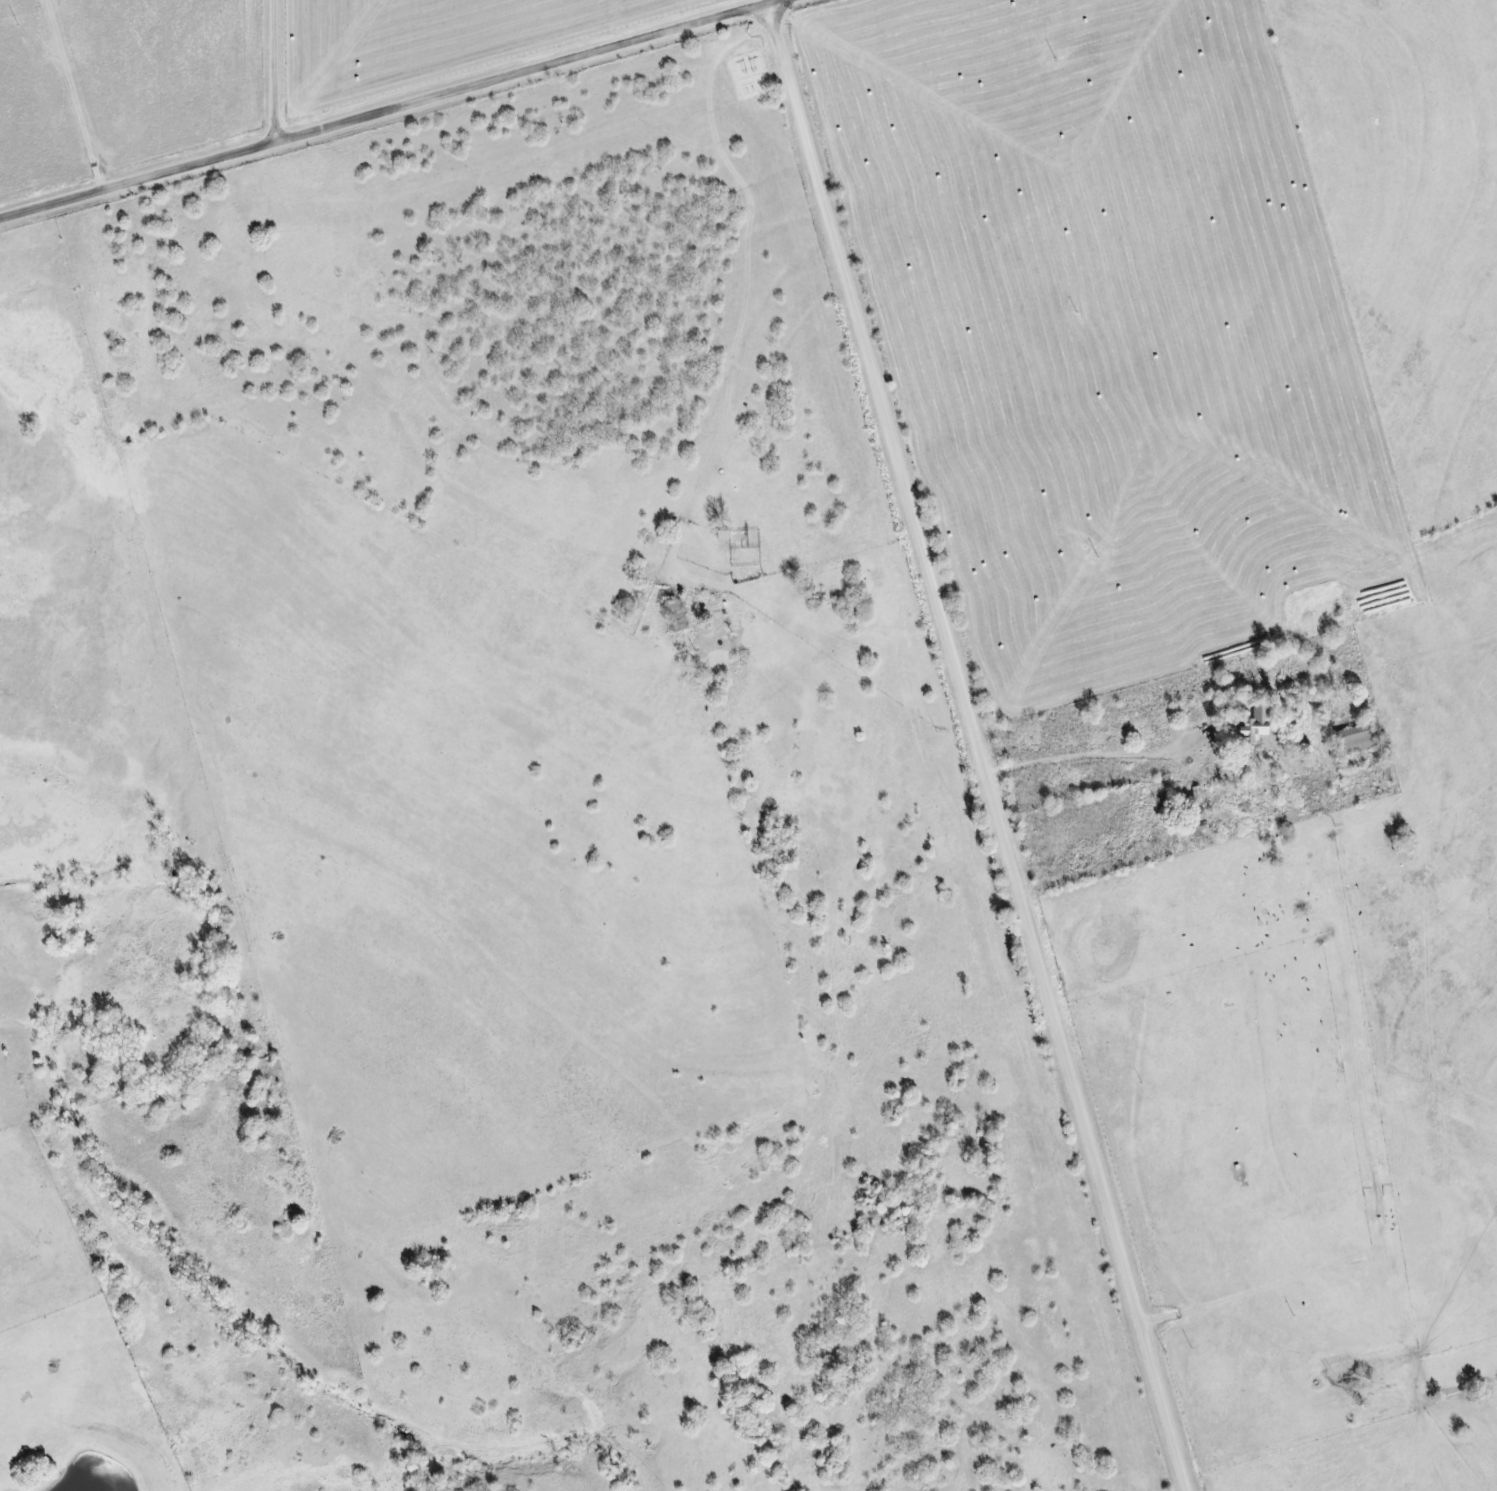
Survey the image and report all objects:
road: (279, 70)
road: (79, 94)
road: (387, 109)
building: (1258, 723)
road: (984, 745)

